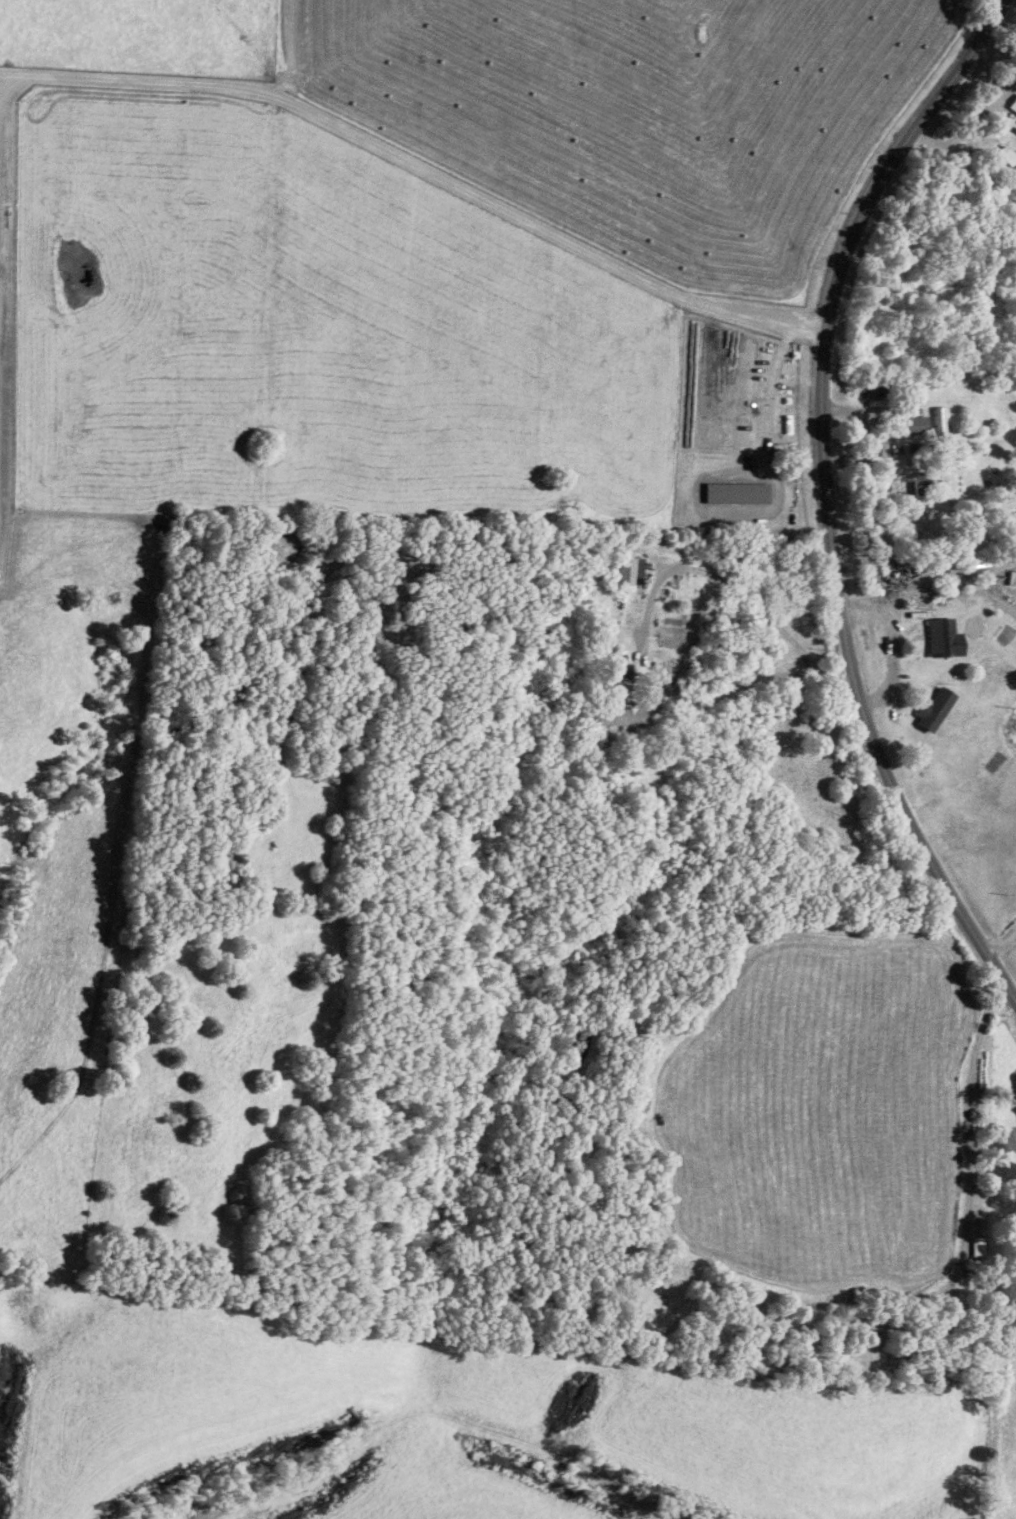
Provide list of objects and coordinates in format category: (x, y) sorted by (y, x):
building: (1012, 106)
building: (1001, 160)
road: (421, 168)
road: (769, 383)
building: (872, 392)
building: (916, 428)
building: (915, 488)
building: (735, 496)
road: (825, 501)
building: (732, 562)
road: (734, 571)
building: (629, 573)
building: (946, 642)
building: (936, 712)
building: (621, 719)

